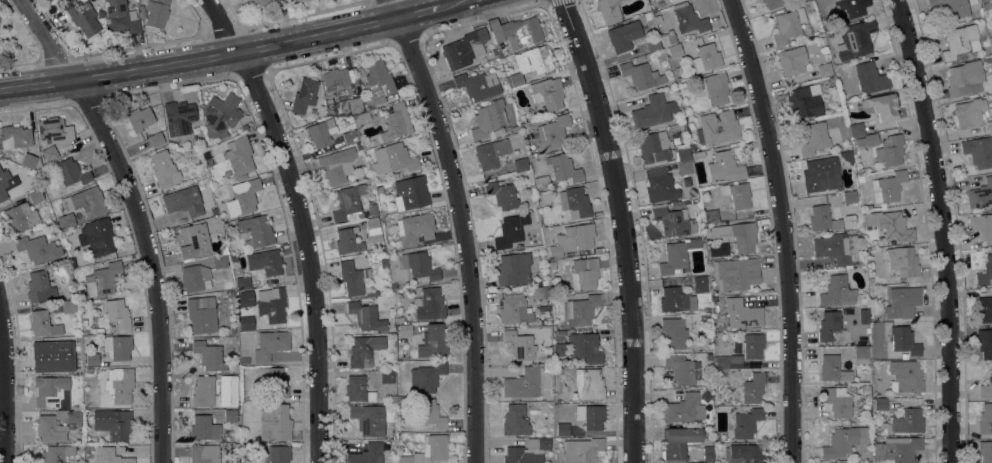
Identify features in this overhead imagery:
building: (249, 0)
building: (287, 0)
building: (299, 1)
building: (674, 1)
building: (262, 2)
building: (67, 3)
building: (661, 3)
building: (772, 3)
building: (851, 7)
building: (951, 8)
building: (609, 10)
building: (142, 11)
building: (157, 12)
building: (648, 16)
building: (83, 17)
building: (121, 17)
building: (0, 18)
building: (688, 19)
building: (788, 25)
building: (516, 30)
building: (654, 31)
building: (624, 35)
building: (810, 36)
building: (668, 38)
building: (855, 40)
building: (959, 41)
building: (652, 44)
building: (461, 50)
building: (675, 50)
road: (238, 53)
building: (706, 58)
building: (534, 59)
building: (986, 59)
building: (792, 60)
building: (824, 69)
building: (678, 70)
building: (641, 75)
building: (867, 78)
building: (964, 78)
building: (514, 79)
building: (334, 81)
building: (829, 81)
building: (379, 82)
building: (478, 85)
building: (713, 88)
building: (547, 93)
building: (305, 96)
building: (845, 97)
building: (390, 98)
building: (803, 102)
building: (355, 104)
building: (367, 105)
building: (880, 106)
building: (652, 112)
building: (220, 115)
building: (963, 115)
building: (179, 117)
building: (139, 118)
building: (488, 119)
building: (362, 120)
building: (395, 122)
building: (991, 123)
building: (717, 127)
building: (516, 128)
building: (855, 129)
building: (55, 130)
building: (552, 132)
building: (320, 133)
building: (845, 135)
building: (351, 136)
building: (15, 137)
building: (156, 139)
building: (814, 139)
building: (867, 140)
building: (654, 147)
building: (692, 147)
building: (890, 150)
building: (978, 151)
building: (49, 153)
building: (490, 153)
building: (205, 154)
building: (683, 154)
building: (239, 155)
building: (697, 155)
building: (393, 159)
building: (28, 160)
building: (336, 165)
building: (520, 165)
building: (724, 167)
building: (685, 168)
building: (565, 169)
building: (164, 170)
building: (72, 173)
building: (227, 173)
building: (818, 176)
building: (537, 182)
building: (6, 183)
building: (660, 186)
building: (888, 187)
building: (217, 191)
building: (410, 193)
building: (502, 195)
building: (737, 195)
building: (980, 195)
building: (35, 196)
building: (245, 196)
building: (88, 200)
building: (184, 200)
building: (850, 200)
building: (348, 201)
building: (574, 202)
building: (694, 204)
building: (368, 211)
road: (142, 216)
building: (711, 216)
building: (20, 217)
building: (821, 218)
building: (869, 219)
building: (675, 220)
building: (66, 221)
road: (305, 221)
building: (857, 224)
building: (225, 225)
road: (465, 225)
road: (627, 226)
building: (895, 226)
building: (983, 226)
building: (216, 227)
road: (640, 227)
road: (772, 228)
road: (782, 228)
building: (373, 229)
building: (415, 229)
road: (947, 229)
building: (256, 230)
building: (511, 230)
building: (737, 235)
building: (576, 237)
building: (100, 238)
building: (707, 238)
building: (192, 240)
building: (347, 241)
building: (382, 246)
building: (519, 246)
building: (38, 249)
building: (839, 250)
building: (555, 251)
building: (677, 256)
building: (233, 258)
building: (903, 261)
building: (71, 262)
building: (220, 262)
building: (384, 263)
building: (263, 265)
building: (419, 265)
building: (94, 266)
building: (513, 269)
building: (985, 272)
building: (584, 273)
building: (735, 274)
building: (352, 277)
building: (195, 278)
building: (102, 279)
building: (870, 281)
building: (545, 282)
building: (243, 283)
building: (700, 284)
building: (393, 285)
building: (712, 285)
building: (40, 287)
building: (540, 292)
building: (837, 292)
building: (231, 293)
building: (372, 293)
building: (674, 300)
building: (902, 300)
building: (68, 305)
building: (427, 305)
building: (270, 306)
building: (985, 309)
building: (514, 310)
building: (581, 310)
building: (117, 313)
building: (742, 314)
building: (202, 315)
building: (366, 316)
building: (399, 319)
building: (43, 324)
building: (76, 324)
building: (829, 326)
building: (84, 329)
building: (673, 333)
building: (404, 334)
building: (904, 340)
building: (432, 342)
building: (392, 343)
building: (984, 343)
building: (270, 344)
building: (519, 345)
building: (753, 345)
building: (117, 347)
building: (584, 348)
building: (559, 349)
building: (364, 350)
building: (861, 352)
building: (209, 355)
building: (53, 356)
building: (406, 356)
building: (904, 356)
building: (92, 359)
building: (245, 360)
building: (727, 362)
building: (547, 368)
building: (683, 369)
building: (832, 369)
building: (89, 370)
building: (558, 371)
building: (905, 376)
building: (387, 377)
building: (426, 377)
building: (234, 378)
building: (272, 383)
building: (523, 383)
road: (5, 384)
building: (588, 384)
building: (119, 385)
building: (753, 388)
building: (986, 388)
building: (358, 389)
building: (203, 391)
building: (706, 396)
building: (394, 399)
building: (837, 401)
building: (880, 404)
building: (684, 408)
building: (62, 409)
building: (428, 413)
building: (230, 416)
building: (590, 416)
building: (368, 419)
building: (985, 419)
building: (515, 421)
building: (274, 422)
building: (906, 422)
building: (746, 423)
building: (121, 426)
building: (876, 427)
building: (204, 428)
building: (562, 429)
building: (679, 441)
building: (707, 441)
building: (842, 441)
building: (429, 450)
building: (581, 450)
building: (898, 450)
building: (528, 451)
building: (985, 451)
building: (707, 453)
building: (746, 453)
building: (54, 454)
building: (204, 454)
building: (275, 454)
building: (367, 454)
building: (109, 456)
building: (697, 462)

